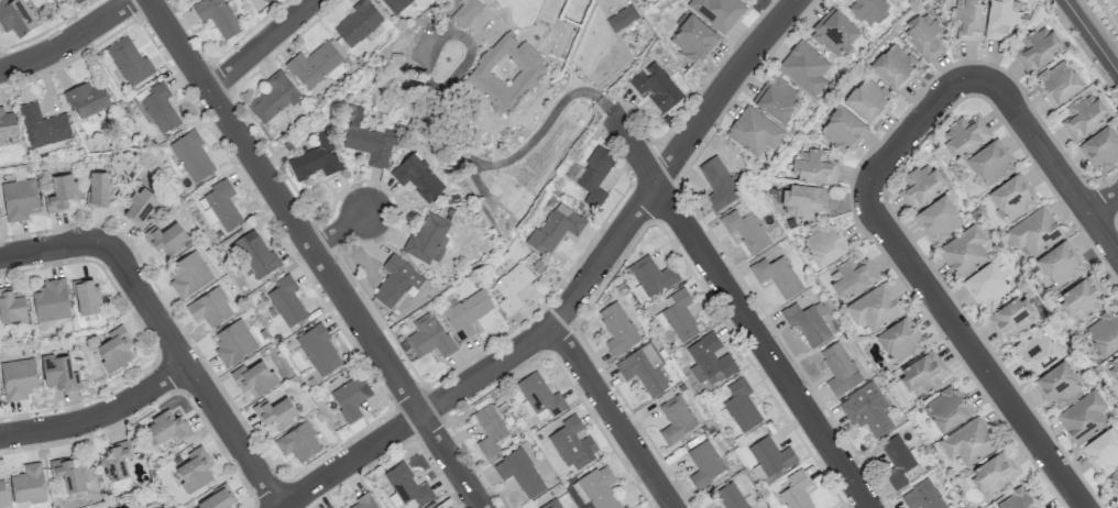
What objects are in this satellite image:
building: (265, 0)
building: (748, 0)
building: (77, 1)
building: (395, 4)
building: (869, 11)
building: (717, 12)
building: (468, 13)
building: (15, 16)
building: (217, 16)
building: (622, 18)
building: (1002, 19)
building: (967, 20)
building: (358, 23)
building: (833, 32)
road: (1092, 35)
building: (924, 36)
building: (693, 38)
road: (69, 42)
road: (262, 45)
building: (1038, 48)
building: (129, 60)
building: (314, 64)
building: (894, 66)
building: (804, 67)
building: (506, 73)
building: (1059, 82)
building: (656, 87)
building: (273, 97)
building: (777, 98)
building: (85, 99)
building: (868, 100)
building: (1083, 115)
building: (7, 124)
building: (43, 125)
building: (842, 130)
building: (754, 131)
road: (914, 132)
building: (964, 136)
building: (368, 139)
building: (1100, 148)
building: (191, 156)
building: (315, 158)
road: (1054, 161)
road: (496, 163)
building: (990, 163)
building: (813, 167)
building: (594, 176)
building: (418, 177)
building: (720, 184)
building: (99, 189)
building: (62, 192)
building: (1011, 198)
building: (19, 199)
building: (803, 200)
building: (139, 206)
building: (220, 206)
road: (1106, 207)
building: (939, 219)
building: (555, 229)
building: (745, 230)
road: (339, 231)
building: (1034, 231)
building: (426, 238)
building: (166, 239)
building: (824, 244)
road: (54, 250)
building: (964, 251)
building: (256, 254)
road: (315, 254)
building: (1059, 265)
building: (188, 274)
building: (777, 275)
building: (653, 276)
building: (851, 277)
building: (397, 281)
building: (987, 284)
building: (512, 287)
road: (578, 294)
building: (86, 296)
building: (1083, 297)
building: (51, 300)
building: (286, 300)
building: (11, 306)
building: (210, 307)
building: (874, 307)
road: (742, 311)
building: (467, 313)
building: (678, 314)
building: (1011, 318)
building: (807, 322)
building: (617, 329)
building: (1104, 332)
building: (428, 336)
building: (899, 341)
building: (233, 342)
building: (114, 349)
building: (318, 350)
building: (1037, 351)
road: (980, 357)
building: (709, 360)
building: (1114, 366)
building: (644, 368)
building: (840, 368)
building: (58, 373)
building: (922, 374)
road: (196, 375)
building: (19, 378)
building: (254, 378)
building: (1059, 385)
building: (350, 397)
building: (540, 397)
building: (741, 405)
building: (867, 409)
building: (945, 410)
building: (275, 412)
road: (613, 417)
building: (1083, 417)
road: (101, 419)
building: (676, 419)
building: (167, 427)
building: (489, 430)
building: (298, 442)
building: (968, 442)
building: (573, 443)
building: (1103, 451)
building: (769, 456)
building: (116, 461)
building: (896, 461)
building: (704, 463)
building: (194, 471)
building: (519, 472)
building: (69, 474)
building: (993, 474)
building: (1114, 483)
building: (28, 484)
building: (407, 485)
building: (596, 488)
building: (796, 492)
building: (2, 493)
building: (730, 496)
building: (922, 496)
building: (218, 499)
building: (1017, 499)
building: (363, 503)
building: (551, 504)
building: (162, 507)

